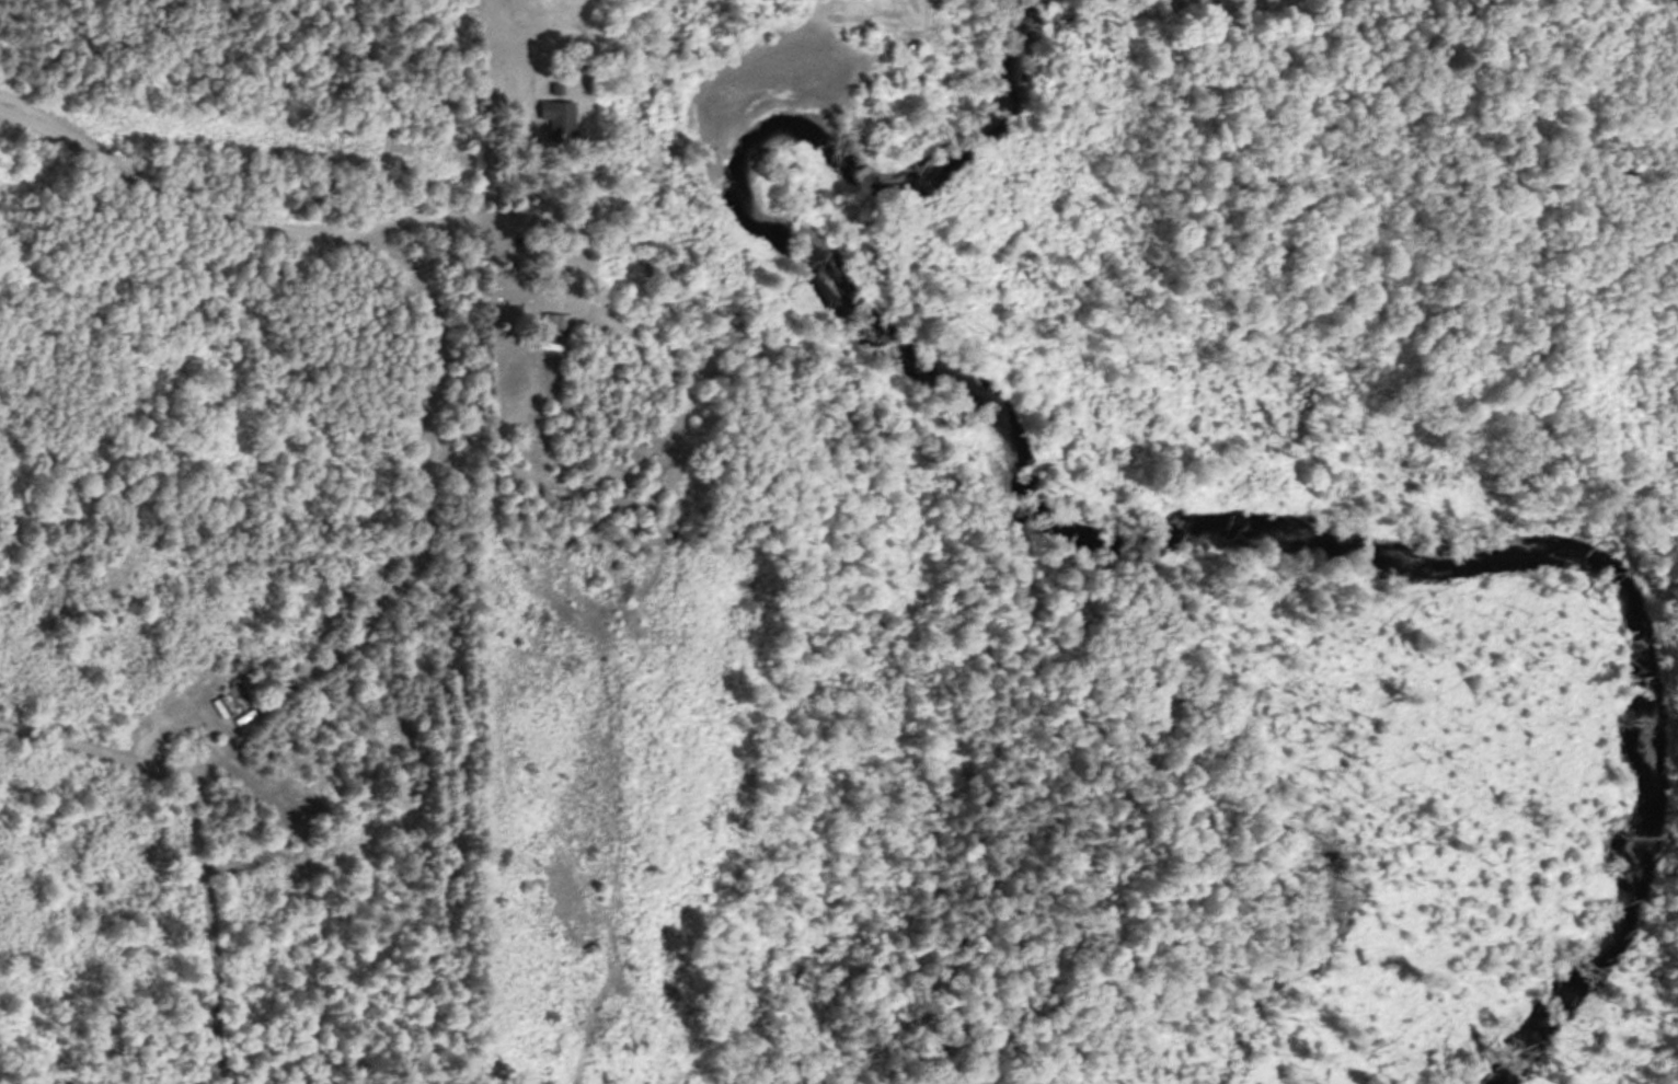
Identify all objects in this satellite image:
building: (558, 120)
road: (263, 227)
building: (555, 320)
river: (1113, 515)
building: (308, 769)
river: (1585, 946)

